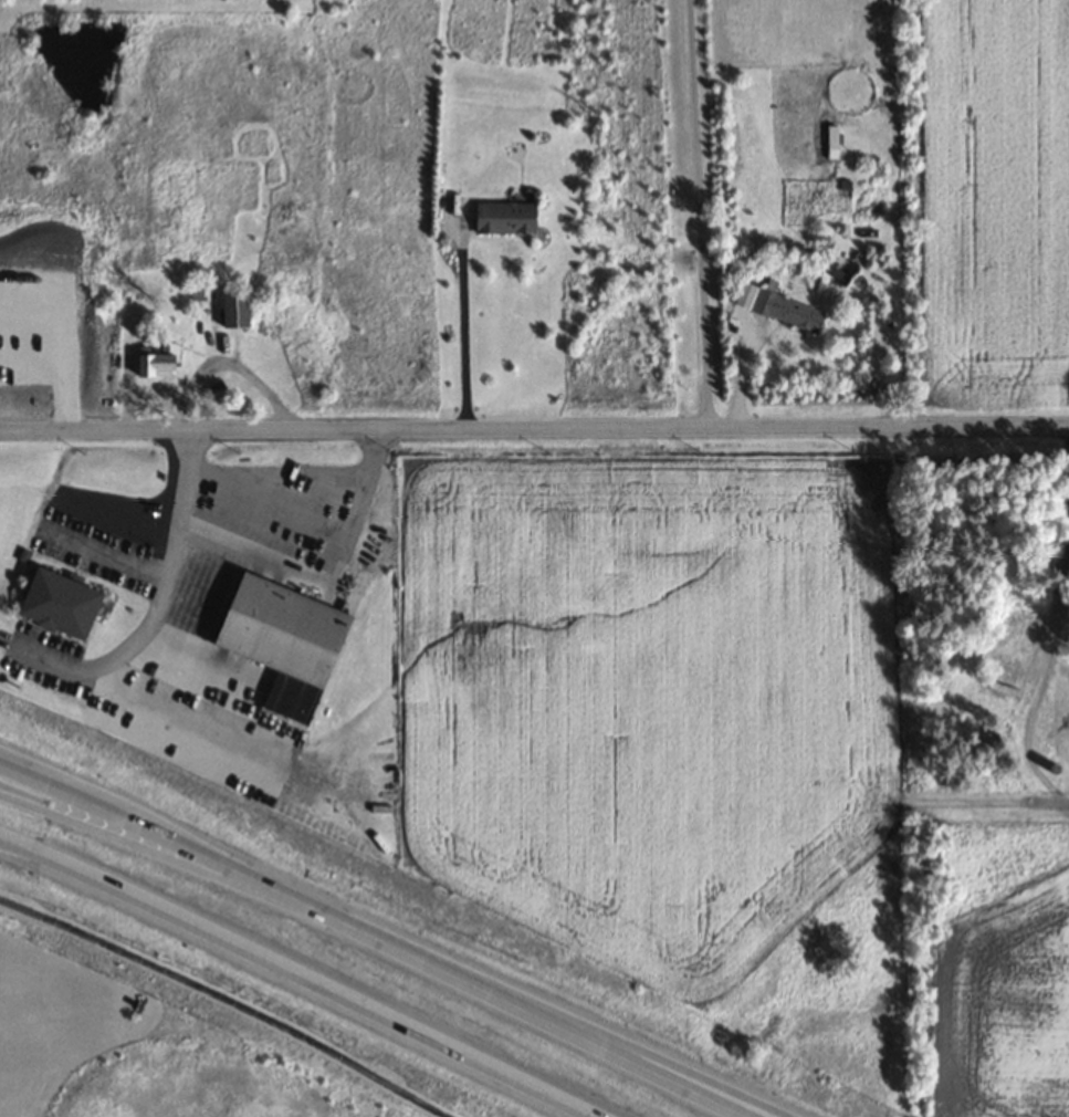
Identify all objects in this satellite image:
building: (830, 137)
building: (503, 218)
building: (196, 290)
building: (785, 310)
building: (232, 311)
building: (158, 363)
road: (534, 428)
building: (56, 603)
building: (280, 639)
road: (200, 857)
road: (175, 859)
road: (182, 918)
road: (230, 1001)
road: (573, 1033)
road: (642, 1051)
road: (480, 1061)

